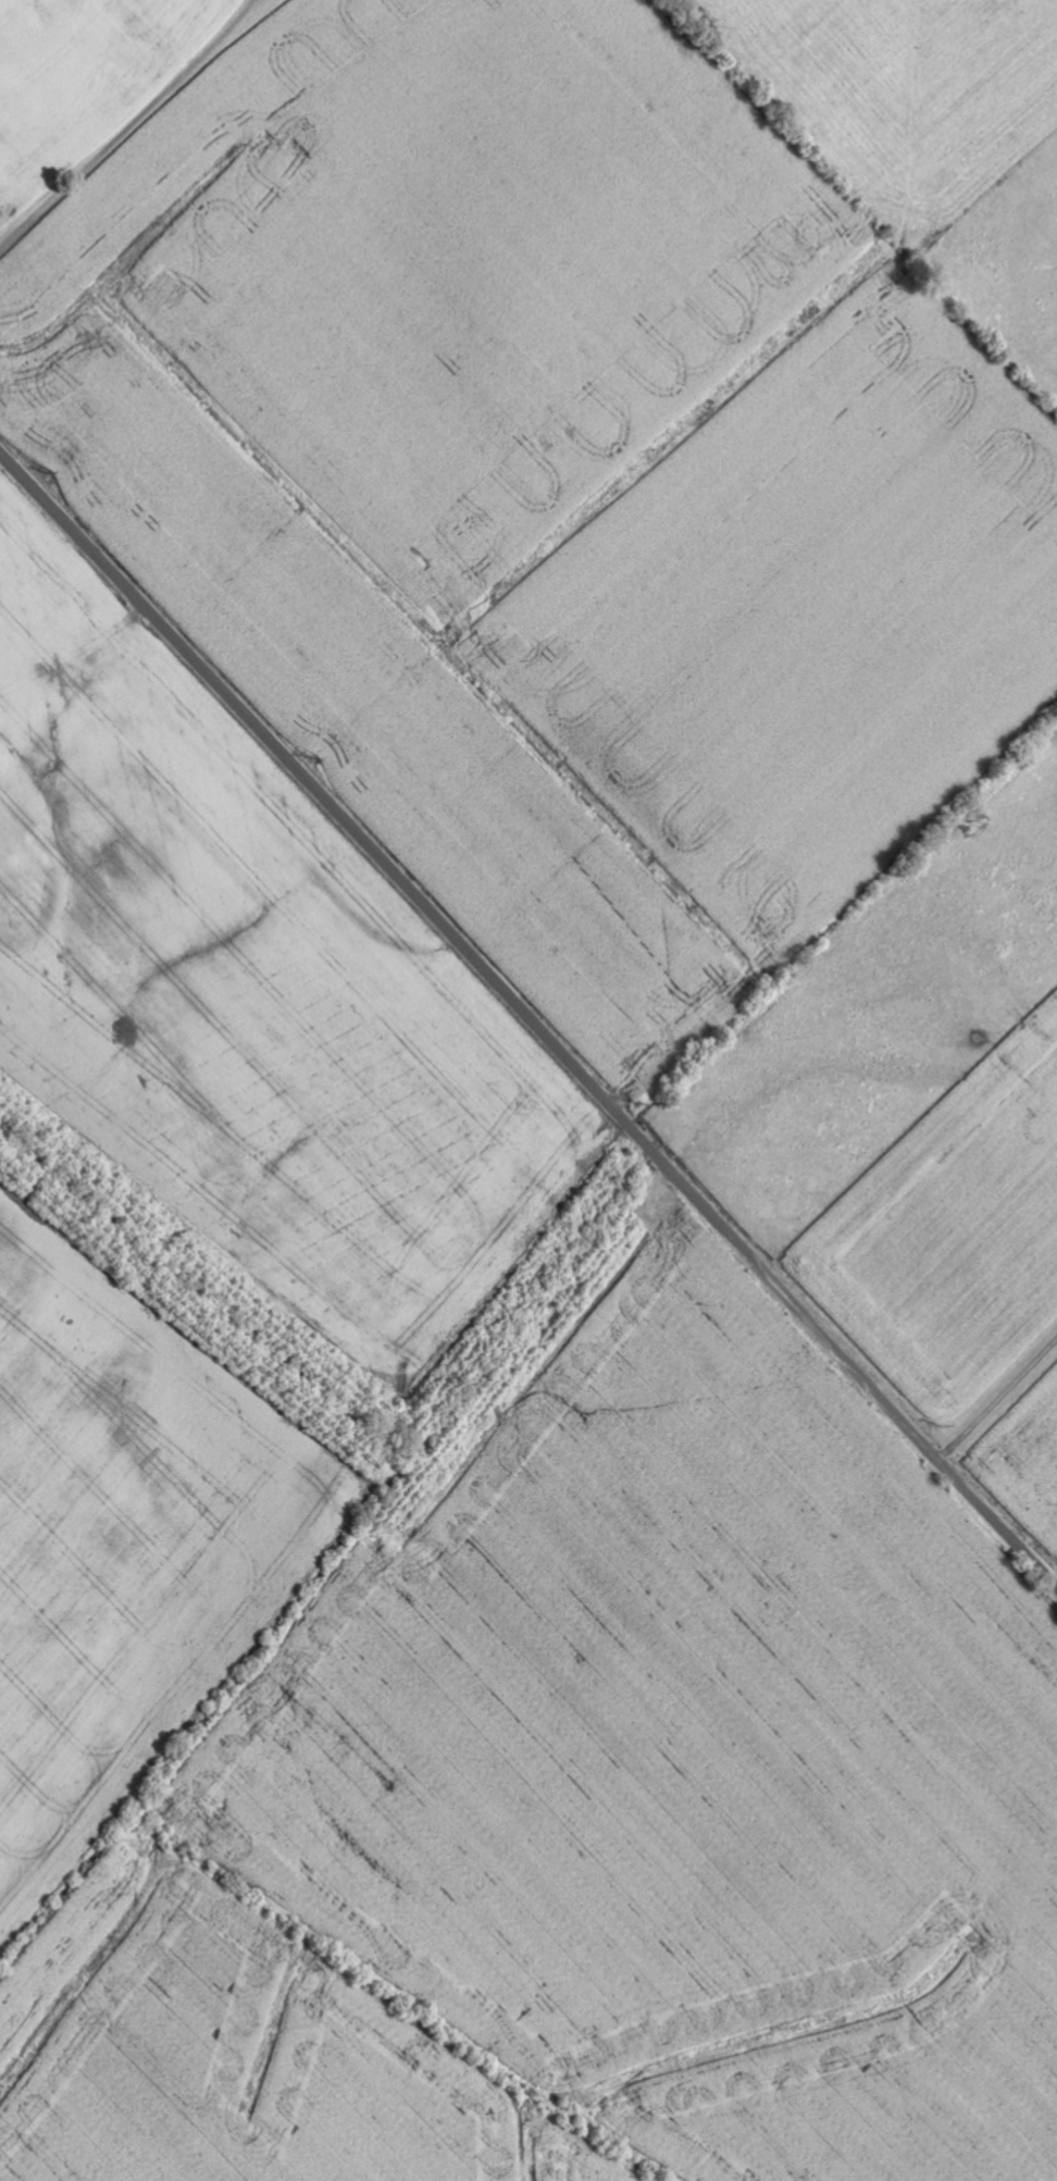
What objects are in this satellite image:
road: (295, 249)
road: (530, 1015)
road: (893, 1031)
road: (999, 1402)

